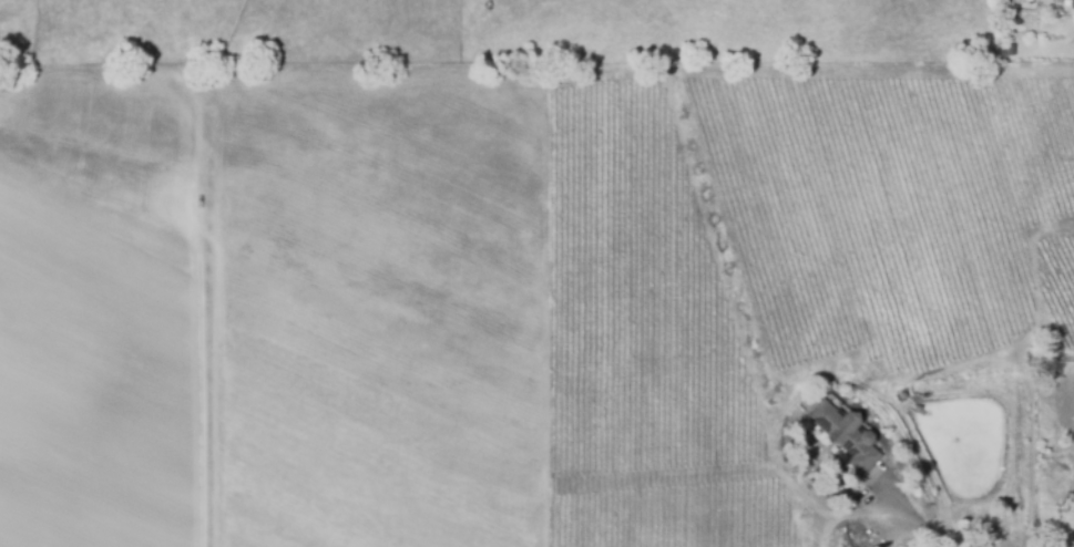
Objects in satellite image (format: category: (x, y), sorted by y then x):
building: (1049, 2)
building: (1071, 3)
building: (1010, 17)
building: (846, 436)
road: (933, 530)

